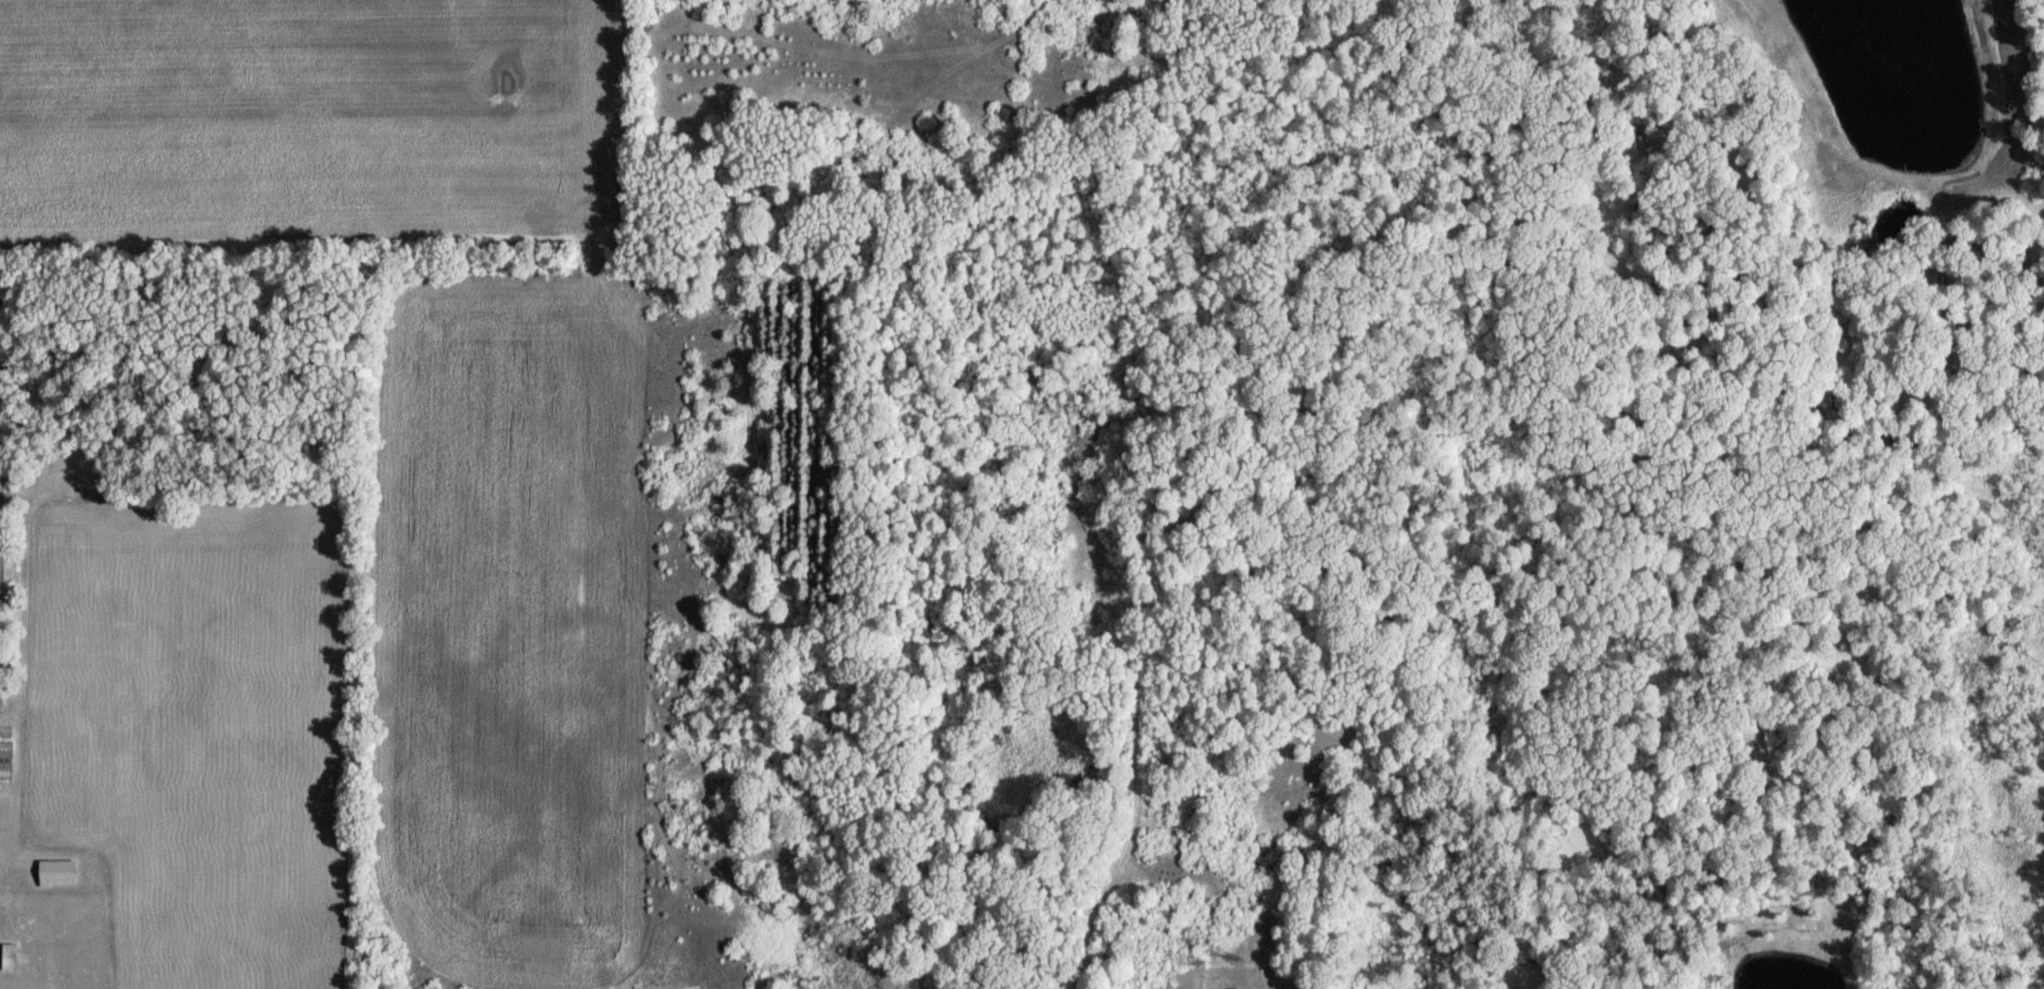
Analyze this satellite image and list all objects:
building: (55, 874)
building: (7, 958)

